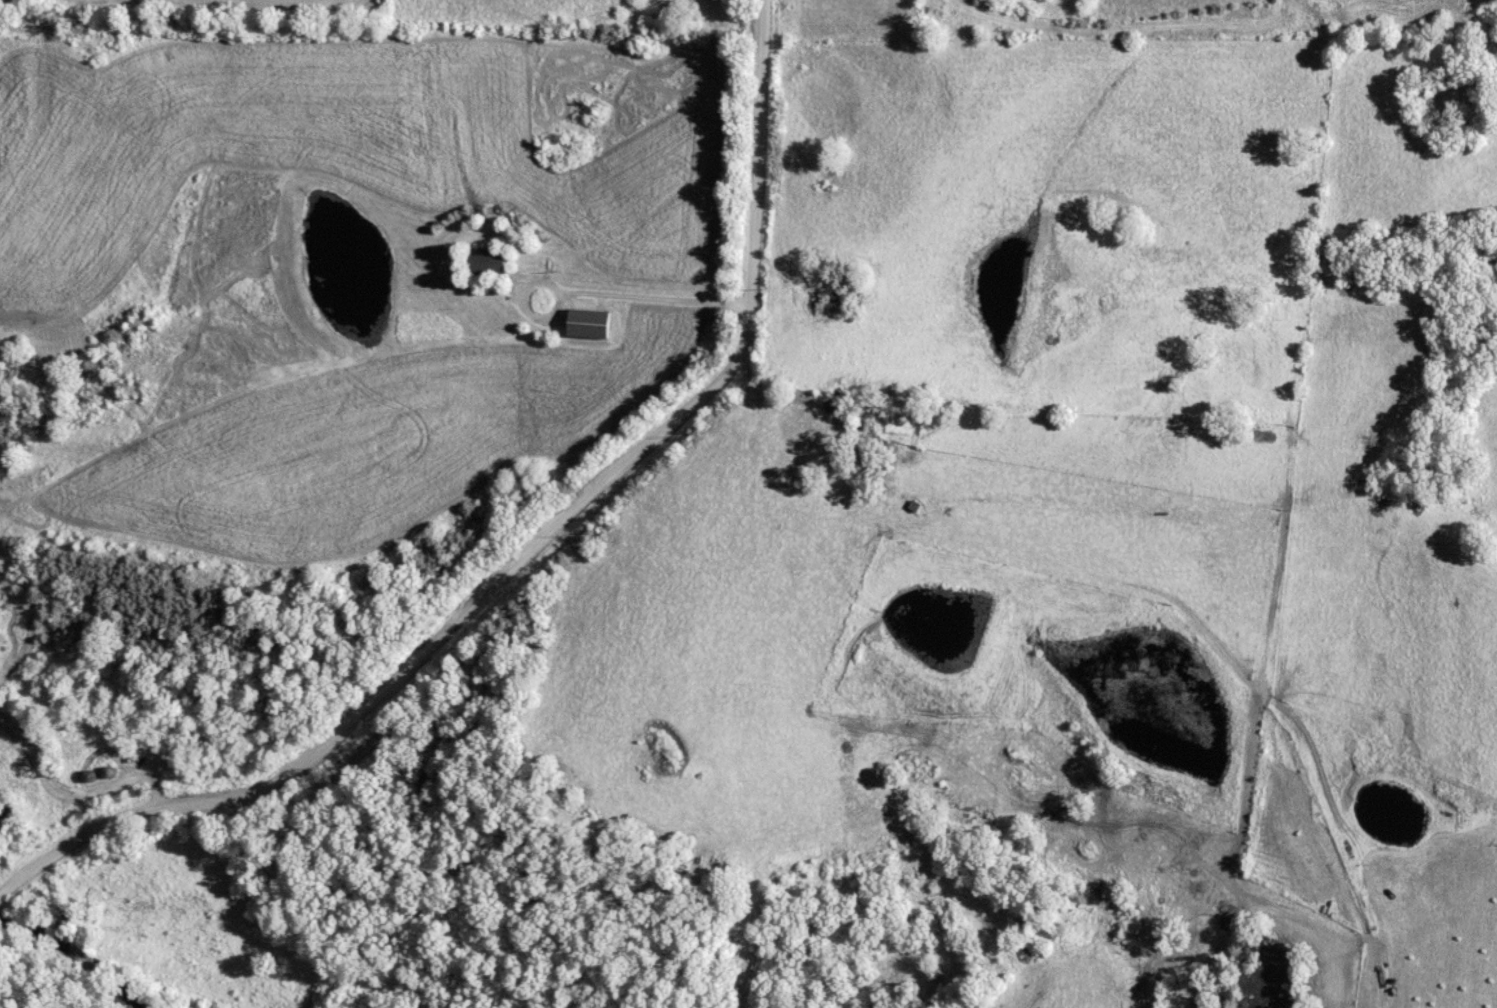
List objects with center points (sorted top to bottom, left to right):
building: (491, 265)
road: (633, 293)
building: (594, 324)
road: (527, 551)
building: (13, 818)
building: (2, 901)

